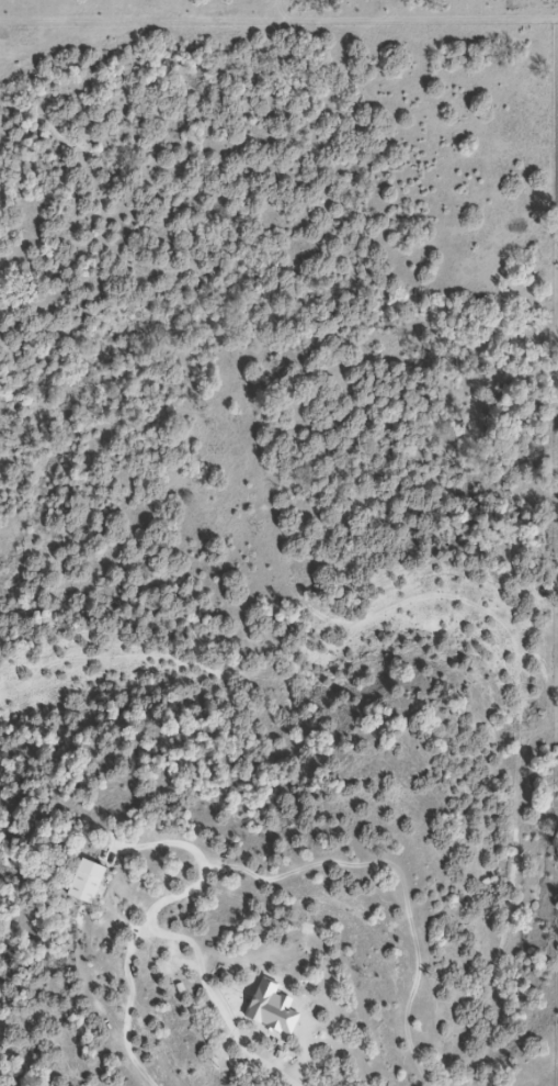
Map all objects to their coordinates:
building: (95, 882)

